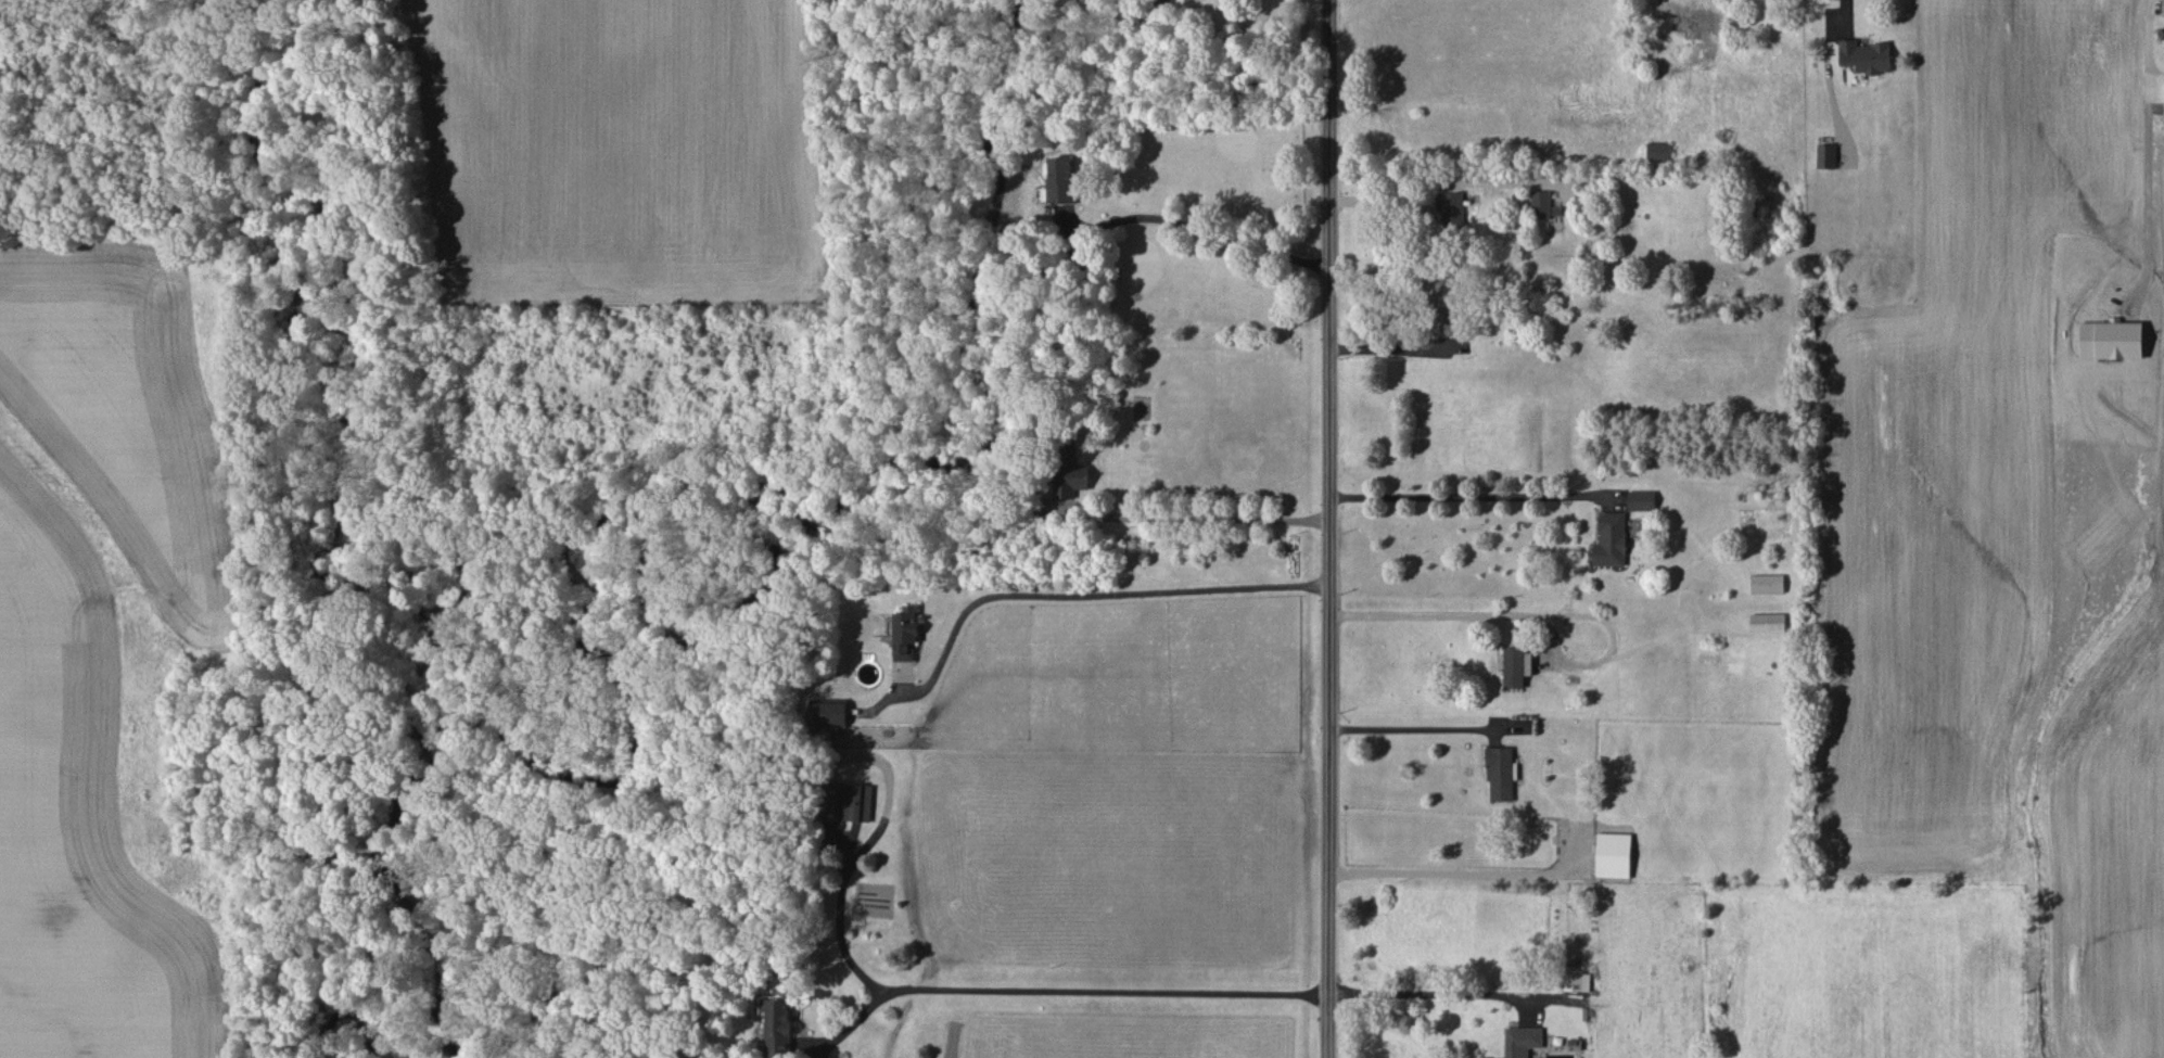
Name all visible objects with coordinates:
building: (2162, 8)
building: (1693, 24)
building: (1864, 56)
road: (2146, 137)
building: (1657, 151)
building: (1825, 156)
building: (1061, 180)
road: (1444, 183)
building: (1540, 205)
building: (1450, 212)
road: (1197, 228)
building: (1446, 307)
road: (1391, 354)
road: (1469, 496)
building: (1641, 500)
road: (1195, 518)
road: (1327, 528)
building: (1611, 540)
building: (1767, 583)
road: (1087, 595)
road: (1450, 620)
building: (1767, 623)
building: (905, 634)
building: (1516, 666)
building: (828, 713)
road: (1412, 729)
building: (1500, 774)
building: (828, 801)
building: (856, 802)
building: (1613, 855)
road: (855, 859)
road: (1446, 871)
building: (1576, 982)
road: (1064, 990)
road: (1482, 1006)
building: (776, 1027)
building: (1522, 1041)

